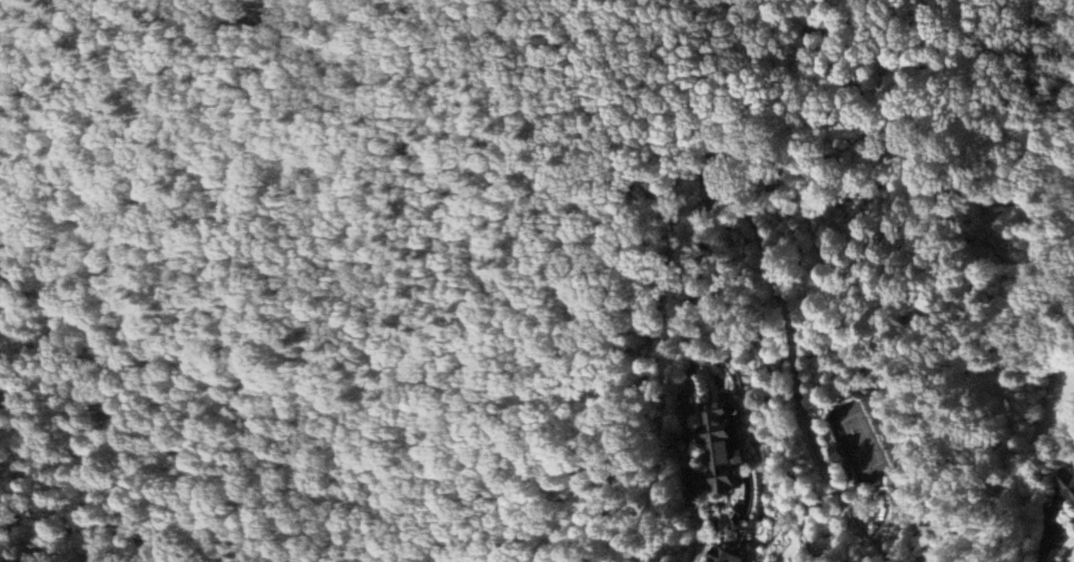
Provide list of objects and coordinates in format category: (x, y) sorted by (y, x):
road: (758, 230)
building: (731, 445)
building: (1066, 485)
road: (1050, 530)
building: (731, 553)

